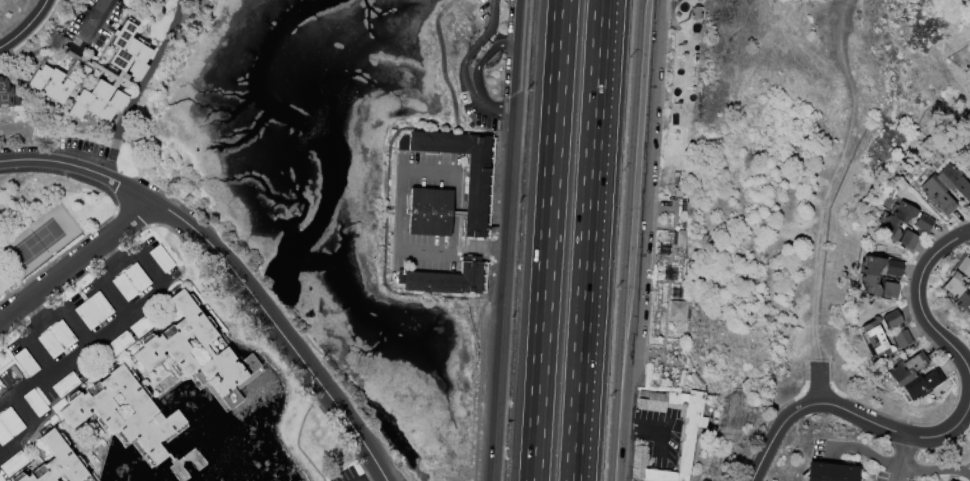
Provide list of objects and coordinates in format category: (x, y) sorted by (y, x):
road: (25, 26)
road: (92, 28)
road: (487, 49)
road: (466, 68)
building: (112, 76)
building: (49, 83)
building: (5, 93)
road: (116, 156)
building: (969, 167)
building: (953, 181)
building: (936, 194)
building: (475, 195)
road: (401, 198)
building: (428, 211)
building: (903, 211)
building: (923, 222)
building: (890, 227)
road: (969, 236)
building: (680, 237)
building: (908, 239)
road: (506, 240)
road: (546, 240)
road: (586, 240)
road: (636, 240)
building: (160, 258)
road: (144, 262)
road: (77, 265)
building: (871, 265)
road: (230, 266)
building: (892, 267)
building: (963, 267)
building: (4, 280)
building: (445, 280)
building: (130, 281)
building: (952, 284)
road: (88, 285)
building: (867, 285)
building: (969, 285)
building: (889, 290)
road: (925, 296)
road: (110, 300)
building: (963, 300)
building: (93, 310)
building: (677, 310)
building: (891, 318)
building: (144, 324)
road: (74, 328)
building: (871, 329)
building: (900, 338)
building: (56, 339)
building: (118, 343)
building: (880, 347)
building: (163, 349)
road: (80, 353)
building: (26, 362)
building: (906, 368)
building: (65, 384)
building: (920, 384)
road: (6, 396)
building: (34, 402)
road: (22, 407)
road: (848, 410)
building: (143, 416)
building: (9, 425)
road: (654, 426)
road: (300, 435)
building: (692, 435)
parking lot: (664, 436)
road: (907, 450)
building: (13, 463)
building: (57, 463)
road: (900, 465)
building: (830, 472)
road: (900, 473)
building: (1, 478)
road: (374, 478)

